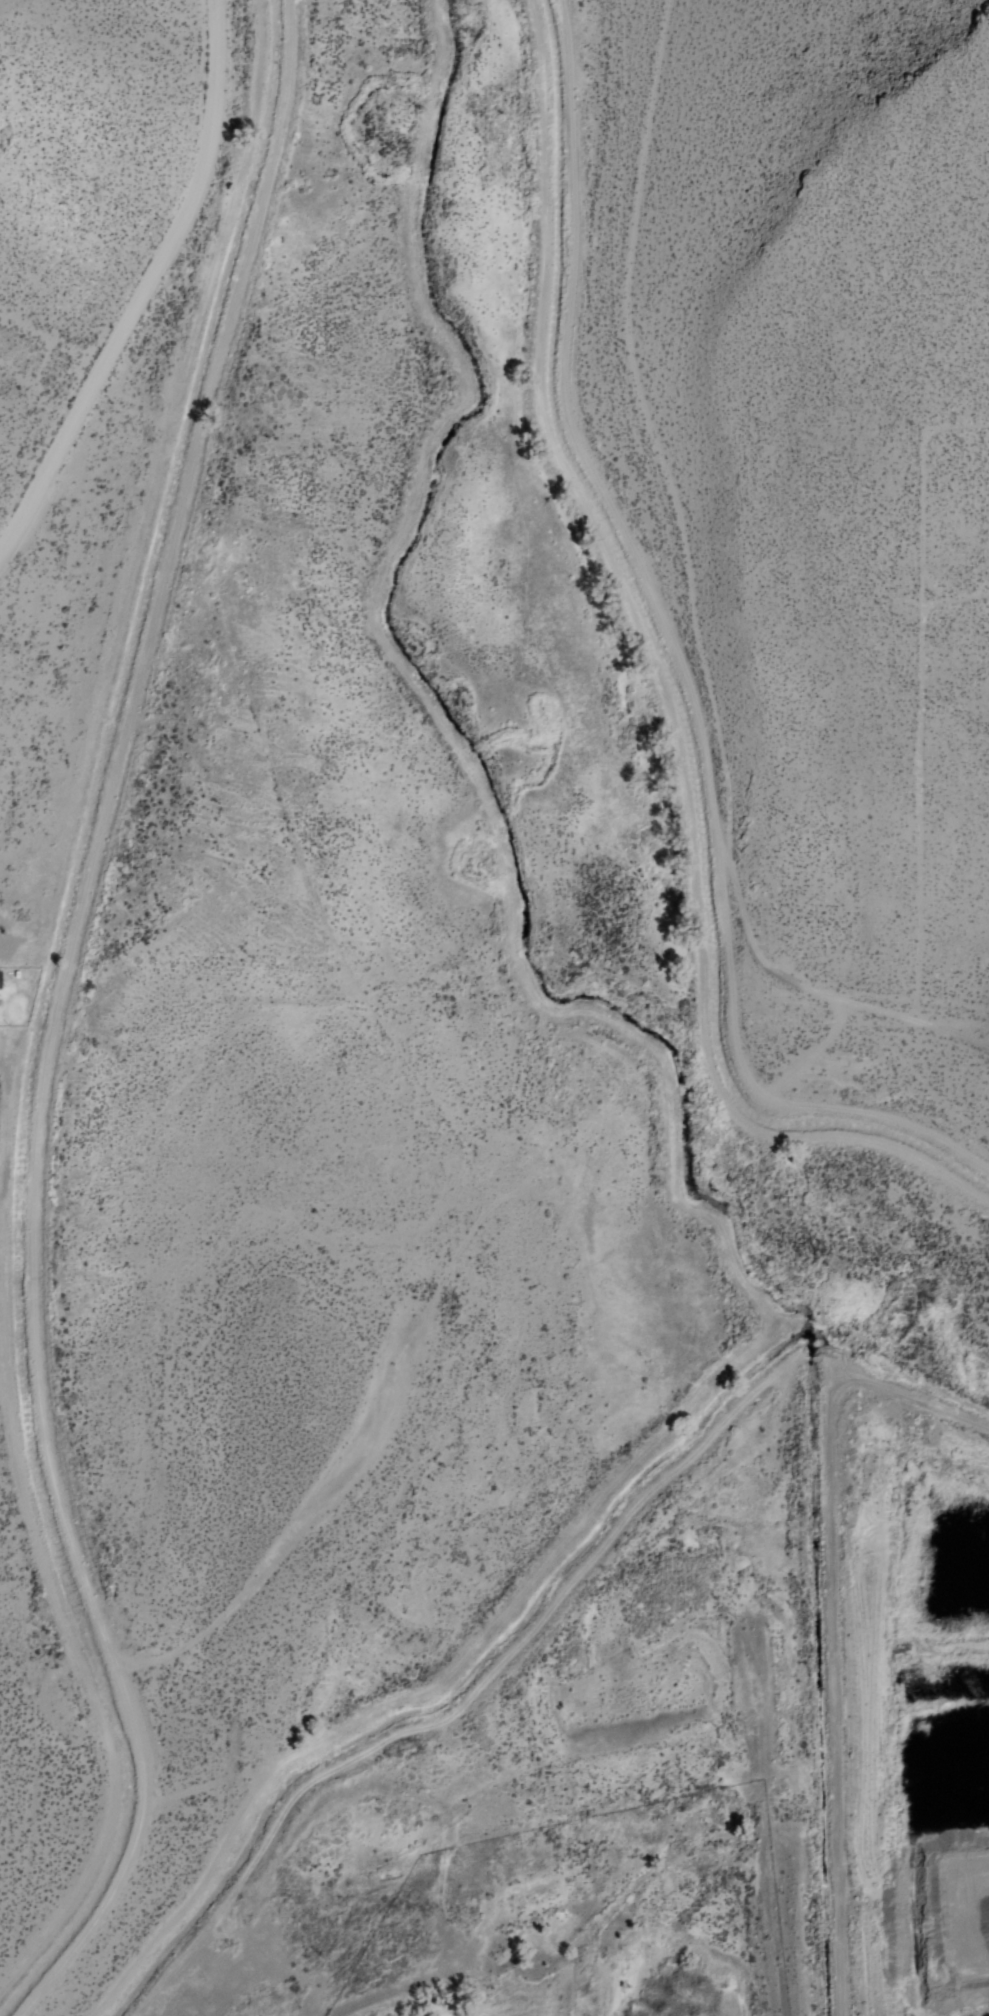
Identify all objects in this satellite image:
road: (146, 293)
road: (643, 366)
road: (685, 661)
road: (659, 689)
road: (833, 994)
road: (60, 1020)
road: (827, 1617)
road: (442, 1684)

